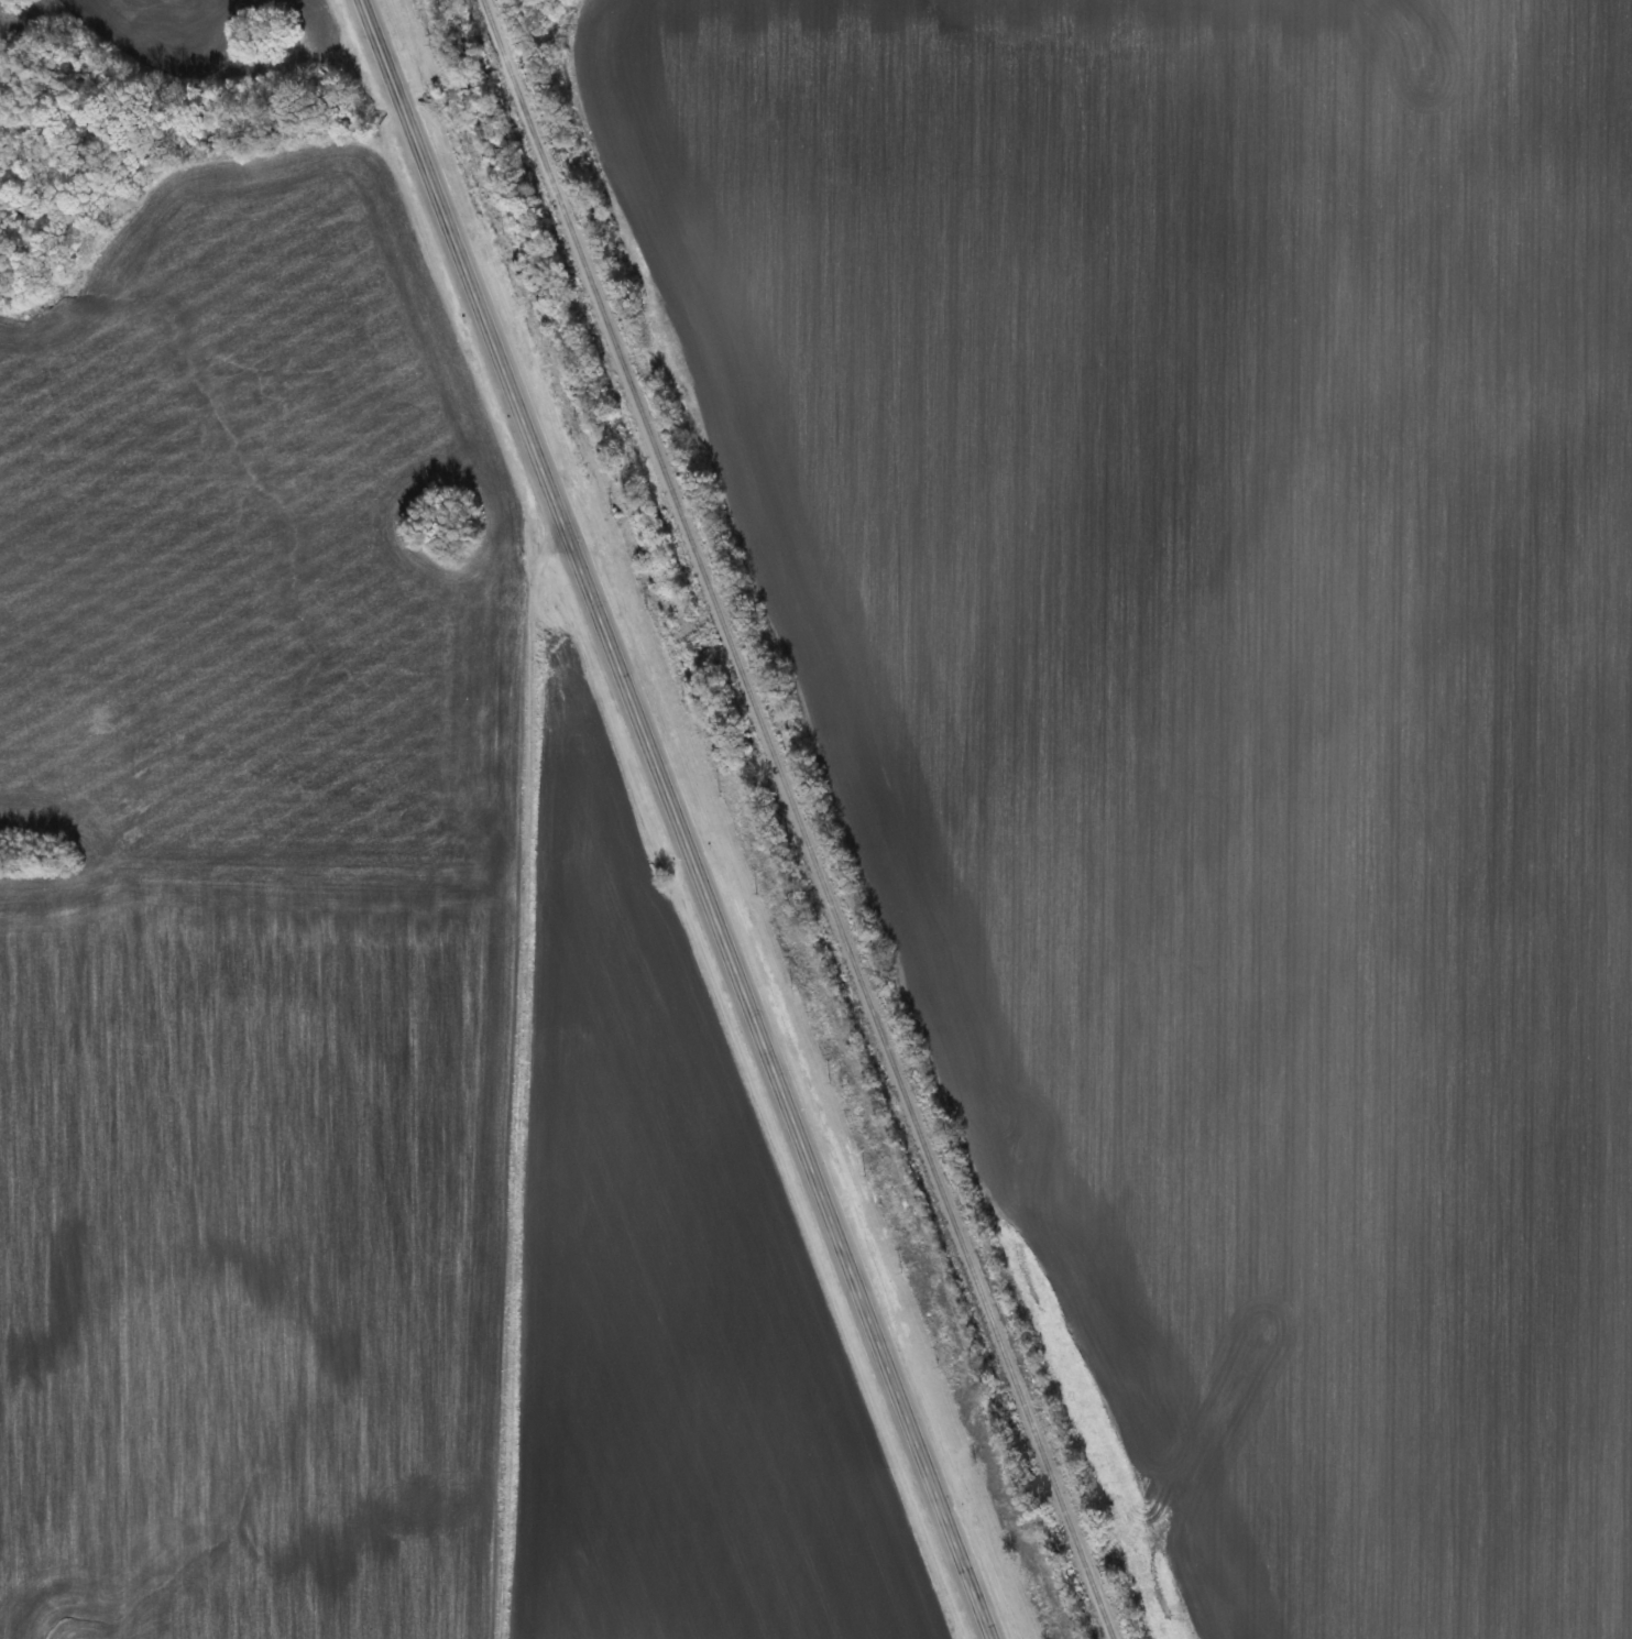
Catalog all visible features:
road: (675, 819)
railway: (797, 819)

